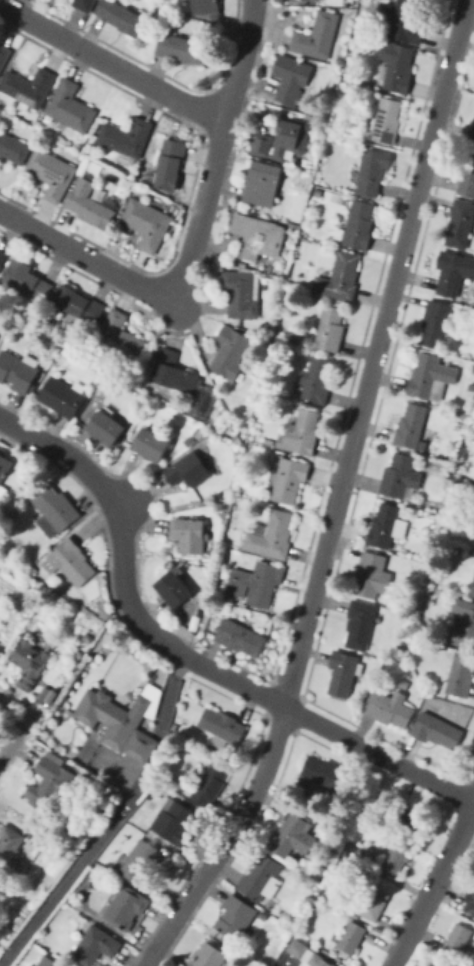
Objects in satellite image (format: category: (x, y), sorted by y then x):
building: (303, 0)
building: (84, 4)
building: (205, 7)
building: (121, 17)
building: (407, 22)
building: (317, 36)
building: (181, 48)
building: (4, 55)
road: (237, 61)
road: (111, 62)
building: (398, 69)
building: (291, 78)
building: (28, 87)
building: (71, 107)
building: (386, 121)
building: (472, 136)
building: (290, 138)
building: (126, 139)
building: (262, 145)
building: (13, 148)
road: (214, 154)
building: (170, 164)
building: (373, 171)
building: (52, 173)
building: (467, 176)
building: (285, 181)
building: (263, 184)
building: (91, 209)
building: (248, 209)
building: (259, 209)
building: (293, 213)
building: (147, 222)
building: (460, 224)
building: (359, 226)
building: (258, 236)
road: (192, 240)
road: (84, 255)
building: (3, 258)
building: (454, 274)
building: (339, 279)
building: (27, 280)
building: (242, 293)
building: (78, 304)
building: (435, 323)
building: (330, 329)
building: (296, 336)
building: (119, 338)
building: (230, 351)
building: (17, 372)
building: (173, 373)
building: (430, 377)
building: (316, 379)
building: (470, 395)
building: (62, 396)
building: (203, 402)
building: (446, 404)
building: (107, 426)
building: (411, 426)
building: (199, 434)
building: (301, 434)
building: (189, 442)
building: (153, 444)
building: (5, 467)
building: (189, 469)
building: (401, 477)
building: (289, 480)
road: (338, 496)
building: (55, 510)
building: (385, 526)
building: (189, 533)
building: (271, 536)
building: (473, 553)
building: (70, 562)
building: (372, 575)
building: (256, 583)
building: (174, 589)
building: (472, 591)
road: (136, 618)
building: (464, 619)
building: (360, 624)
building: (240, 637)
building: (0, 649)
building: (30, 664)
building: (343, 672)
building: (461, 676)
building: (403, 683)
building: (389, 708)
building: (122, 721)
building: (222, 727)
building: (436, 731)
road: (7, 750)
road: (419, 774)
building: (328, 775)
building: (50, 783)
building: (210, 784)
building: (98, 798)
building: (406, 818)
road: (113, 819)
building: (139, 823)
building: (175, 823)
building: (293, 829)
building: (9, 842)
building: (57, 845)
building: (395, 854)
building: (357, 858)
building: (141, 861)
building: (323, 871)
building: (258, 875)
road: (433, 887)
building: (374, 903)
building: (470, 904)
building: (126, 907)
building: (235, 917)
building: (327, 932)
building: (351, 937)
building: (458, 939)
building: (95, 946)
building: (297, 947)
building: (209, 956)
building: (319, 960)
building: (47, 961)
building: (446, 962)
building: (26, 965)
building: (439, 965)

